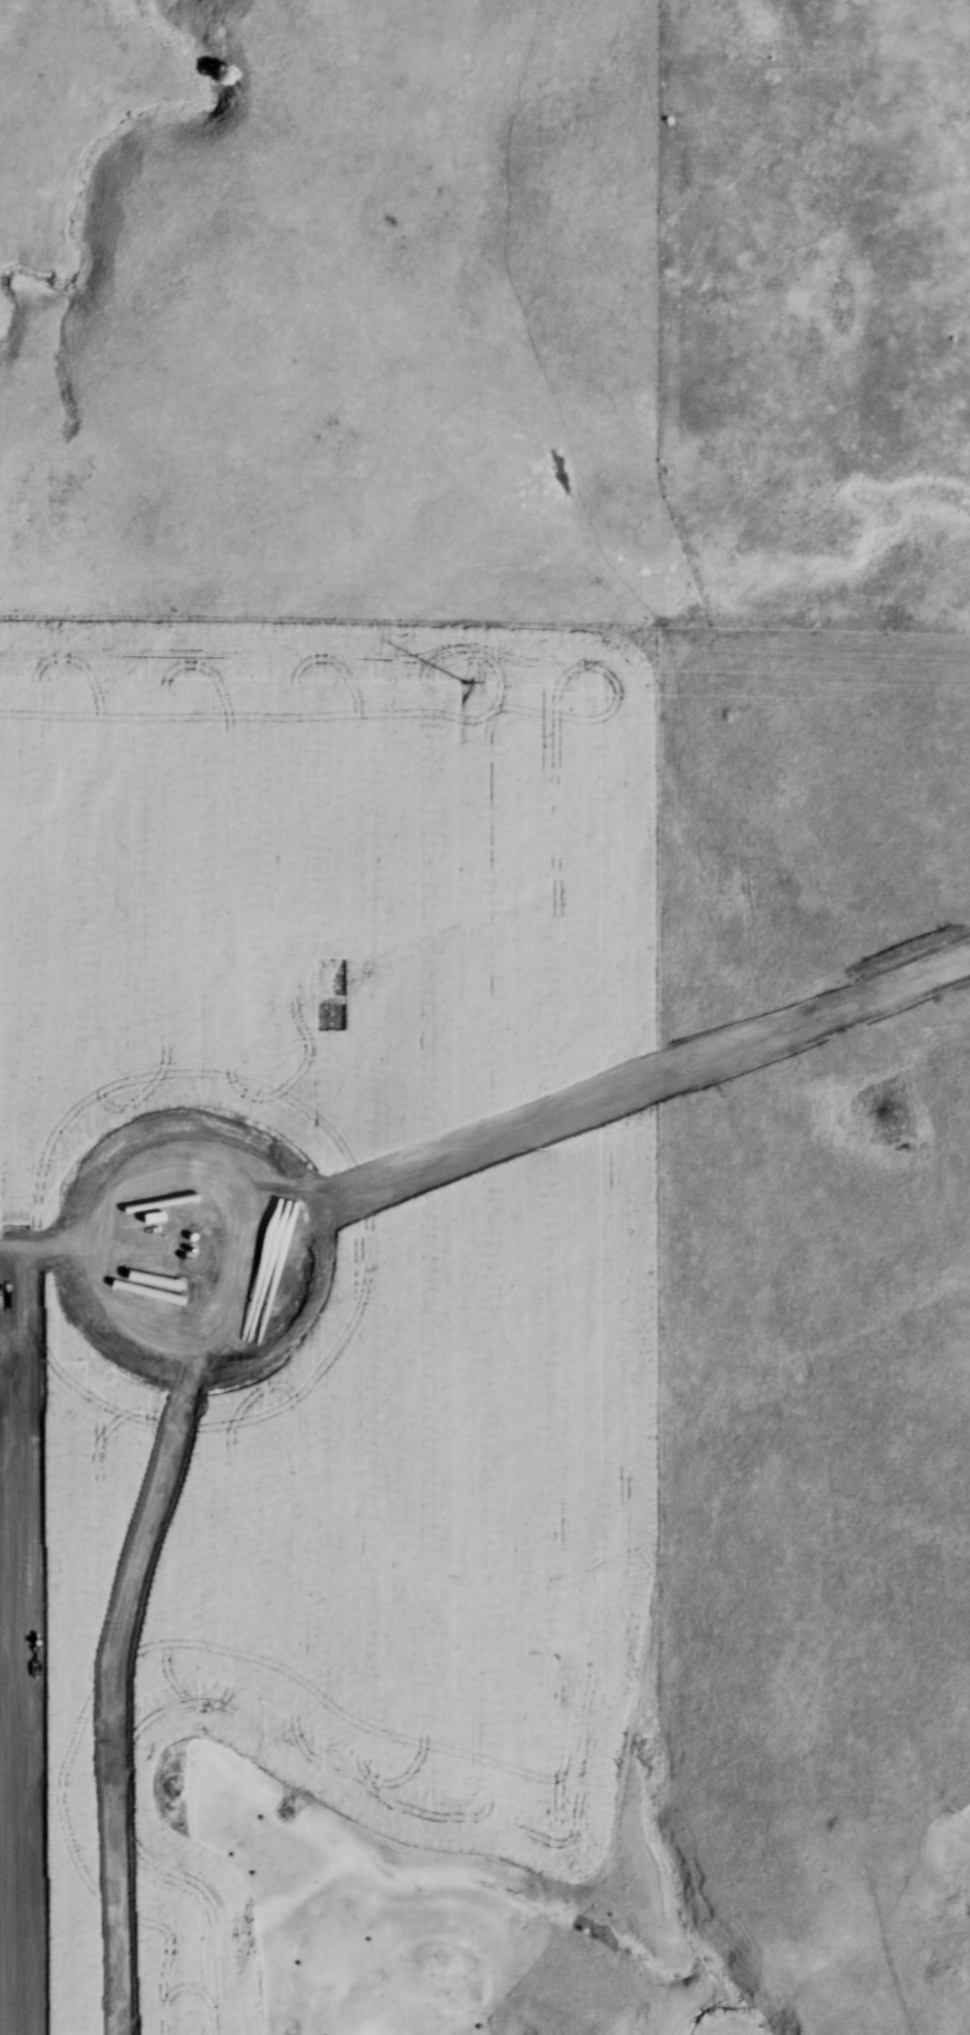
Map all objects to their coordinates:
power tower: (467, 687)
wind turbine: (192, 1227)

